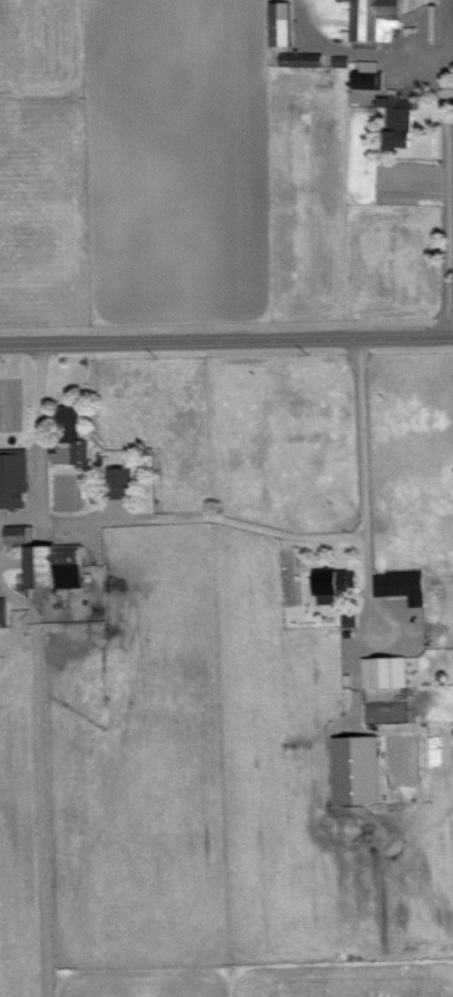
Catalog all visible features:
building: (376, 21)
building: (281, 22)
road: (367, 54)
building: (302, 58)
building: (341, 60)
building: (368, 79)
building: (399, 117)
road: (447, 168)
road: (226, 342)
building: (76, 432)
building: (14, 477)
building: (122, 480)
road: (215, 515)
building: (19, 533)
building: (54, 565)
building: (335, 582)
road: (369, 584)
building: (403, 584)
building: (4, 610)
building: (385, 671)
building: (358, 769)

